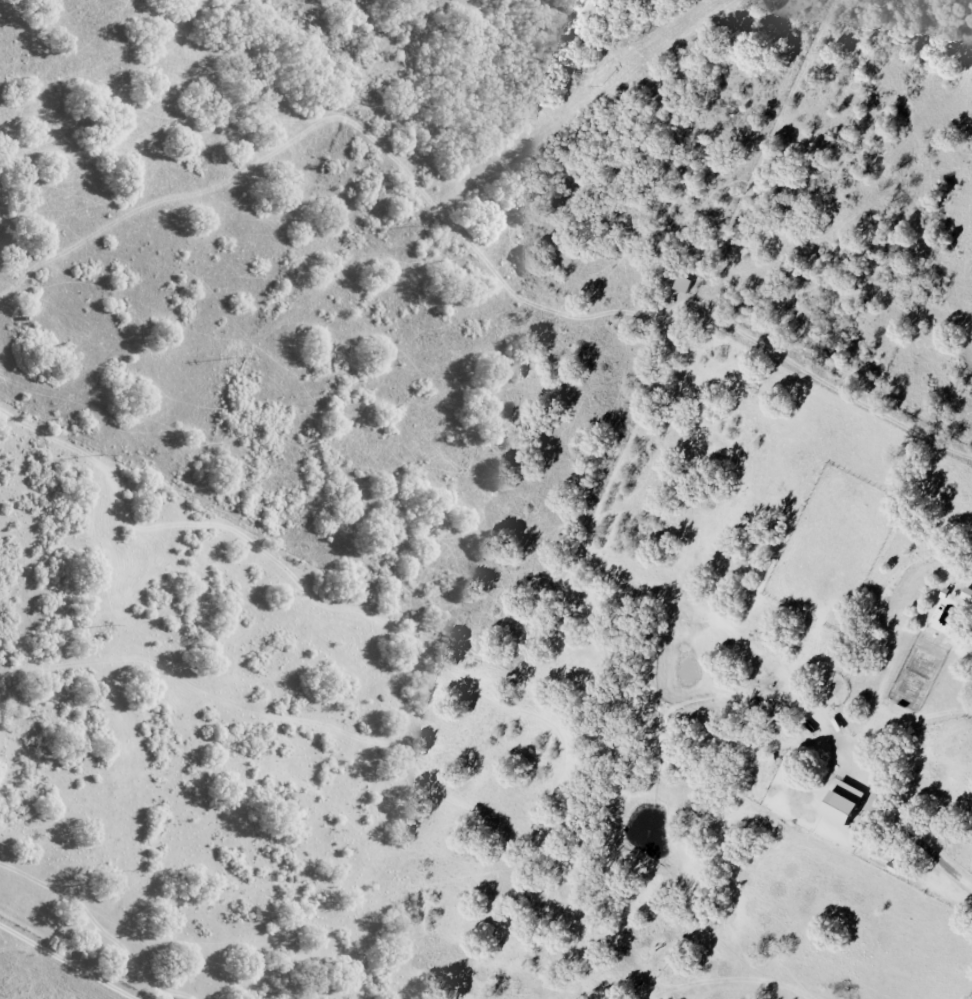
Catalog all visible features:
power tower: (603, 86)
power tower: (415, 225)
building: (682, 283)
power tower: (236, 358)
power tower: (103, 455)
building: (967, 594)
power tower: (113, 626)
building: (842, 802)
power tower: (128, 870)
road: (66, 963)

